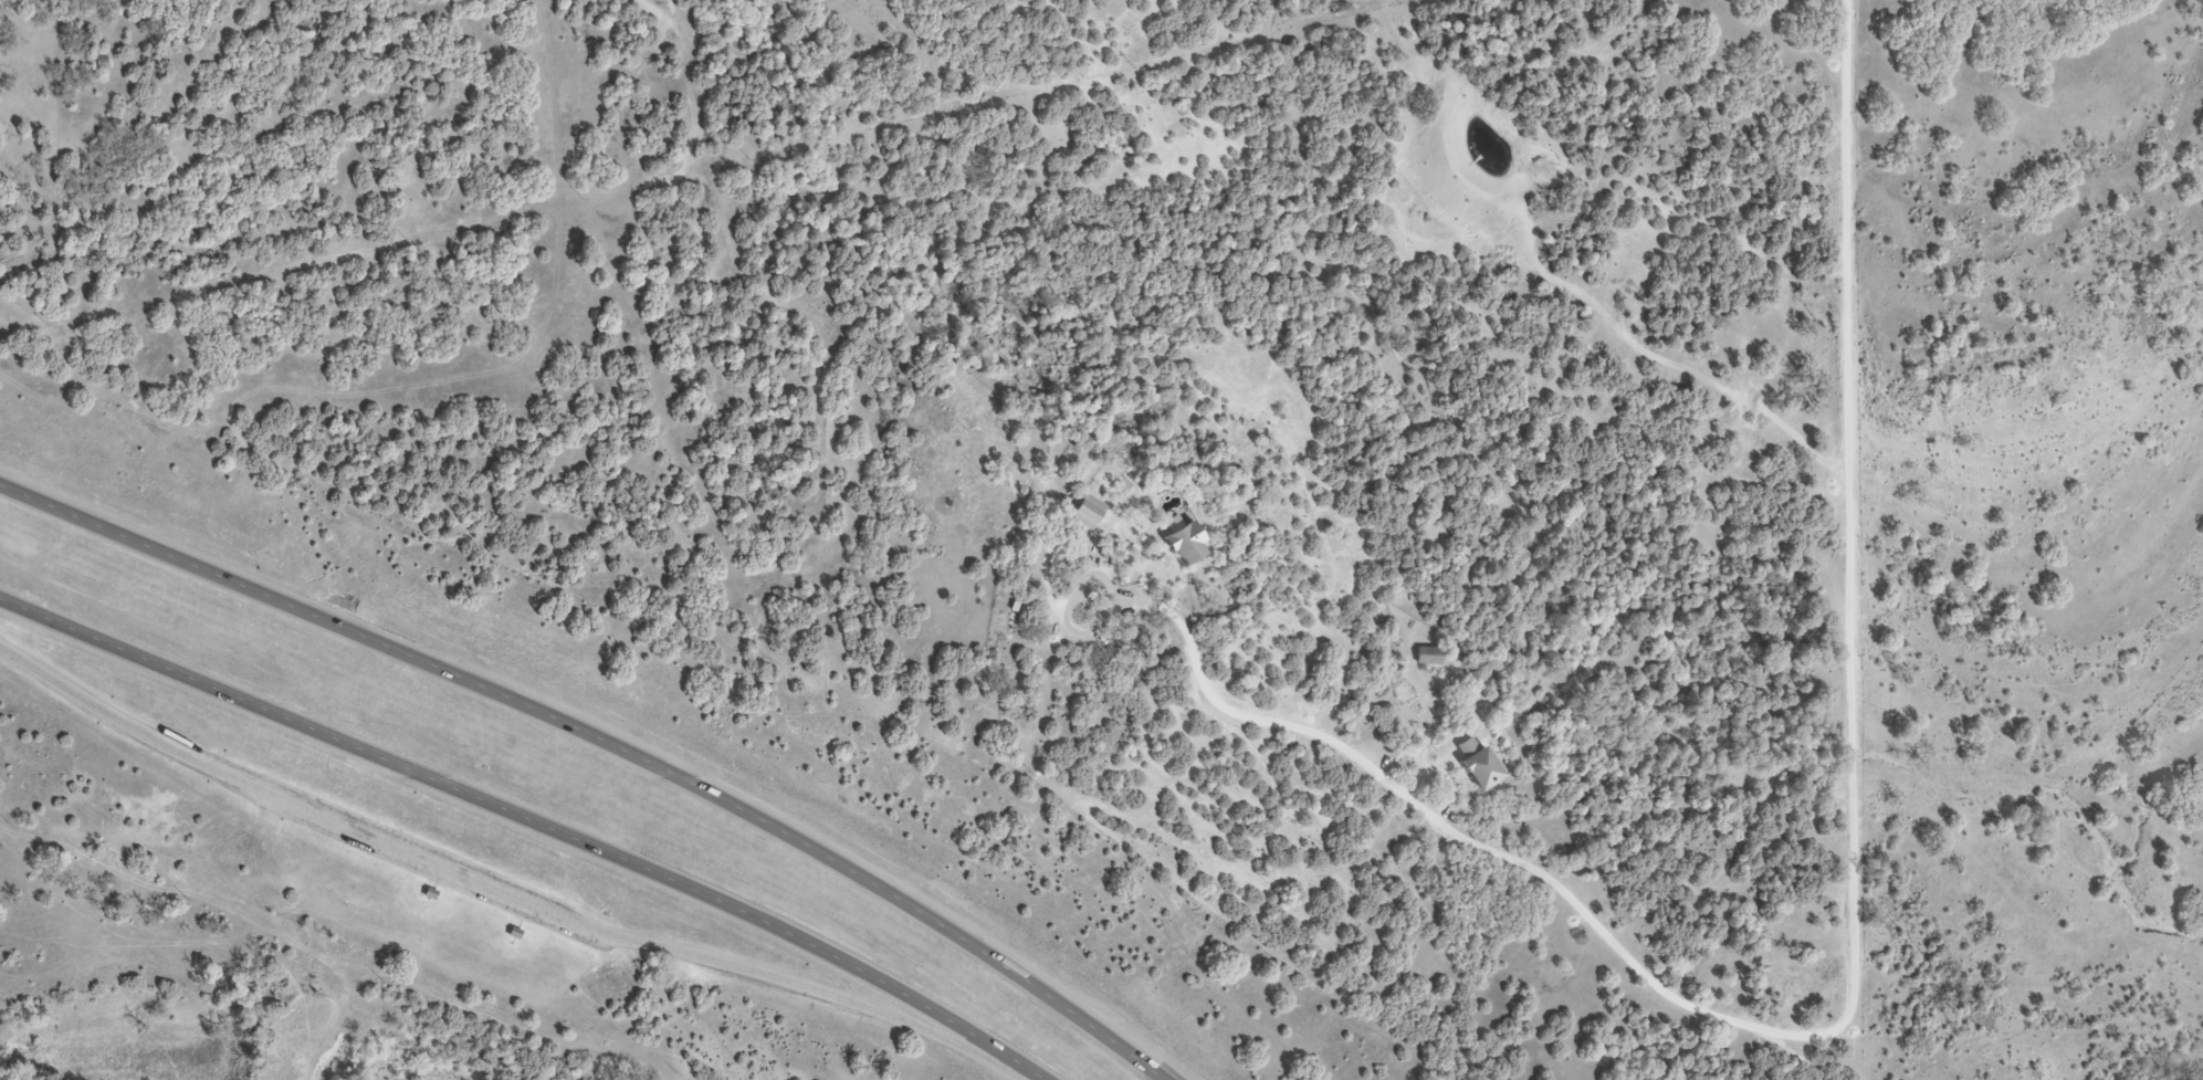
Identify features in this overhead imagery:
building: (1081, 511)
building: (1175, 541)
building: (1425, 657)
road: (115, 717)
road: (606, 740)
building: (1473, 765)
road: (532, 822)
road: (424, 858)
parking lot: (422, 860)
building: (424, 893)
building: (508, 932)
road: (1855, 955)
road: (818, 989)

